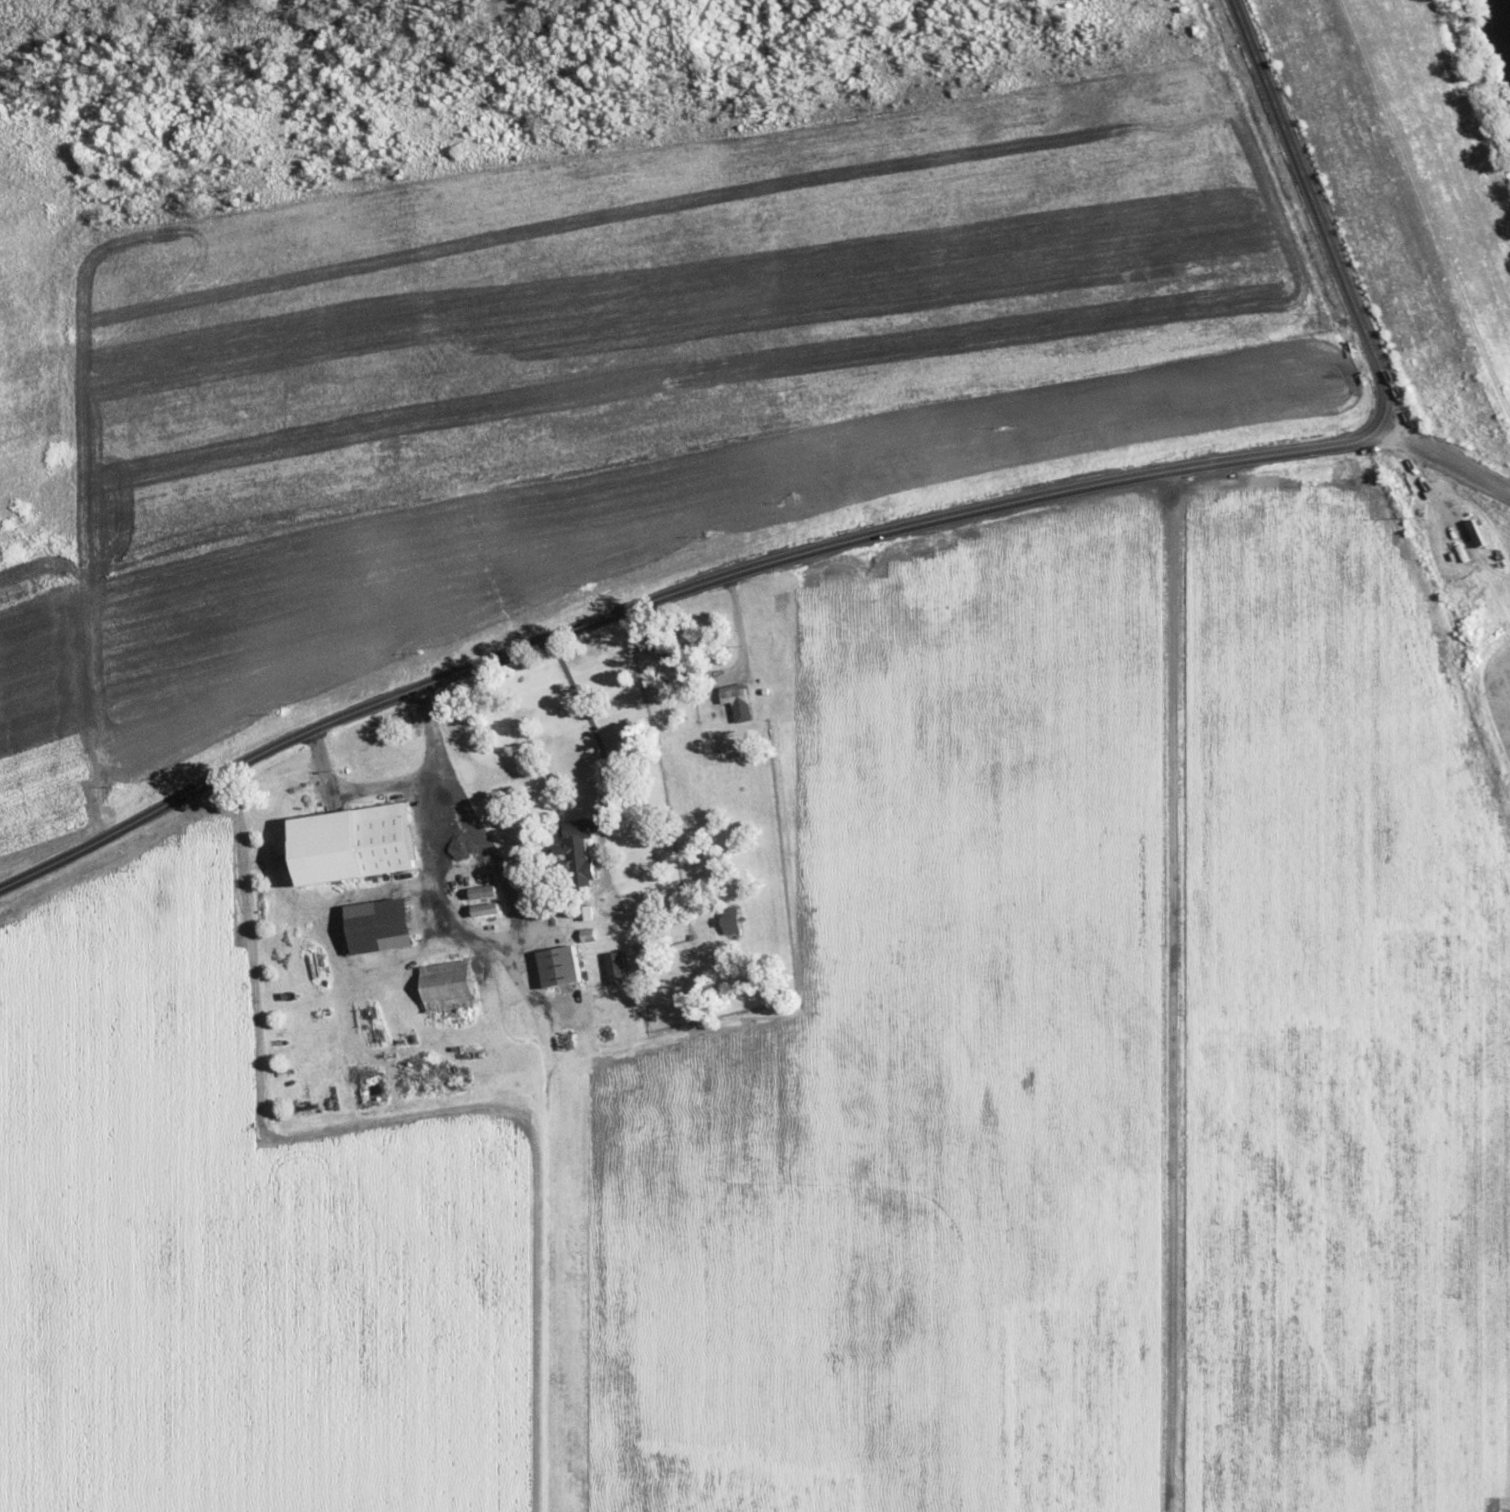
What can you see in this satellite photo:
road: (1425, 208)
road: (1447, 464)
road: (901, 528)
building: (741, 708)
building: (581, 847)
building: (589, 914)
building: (735, 925)
building: (562, 968)
building: (618, 968)
road: (1172, 993)
road: (543, 1087)

